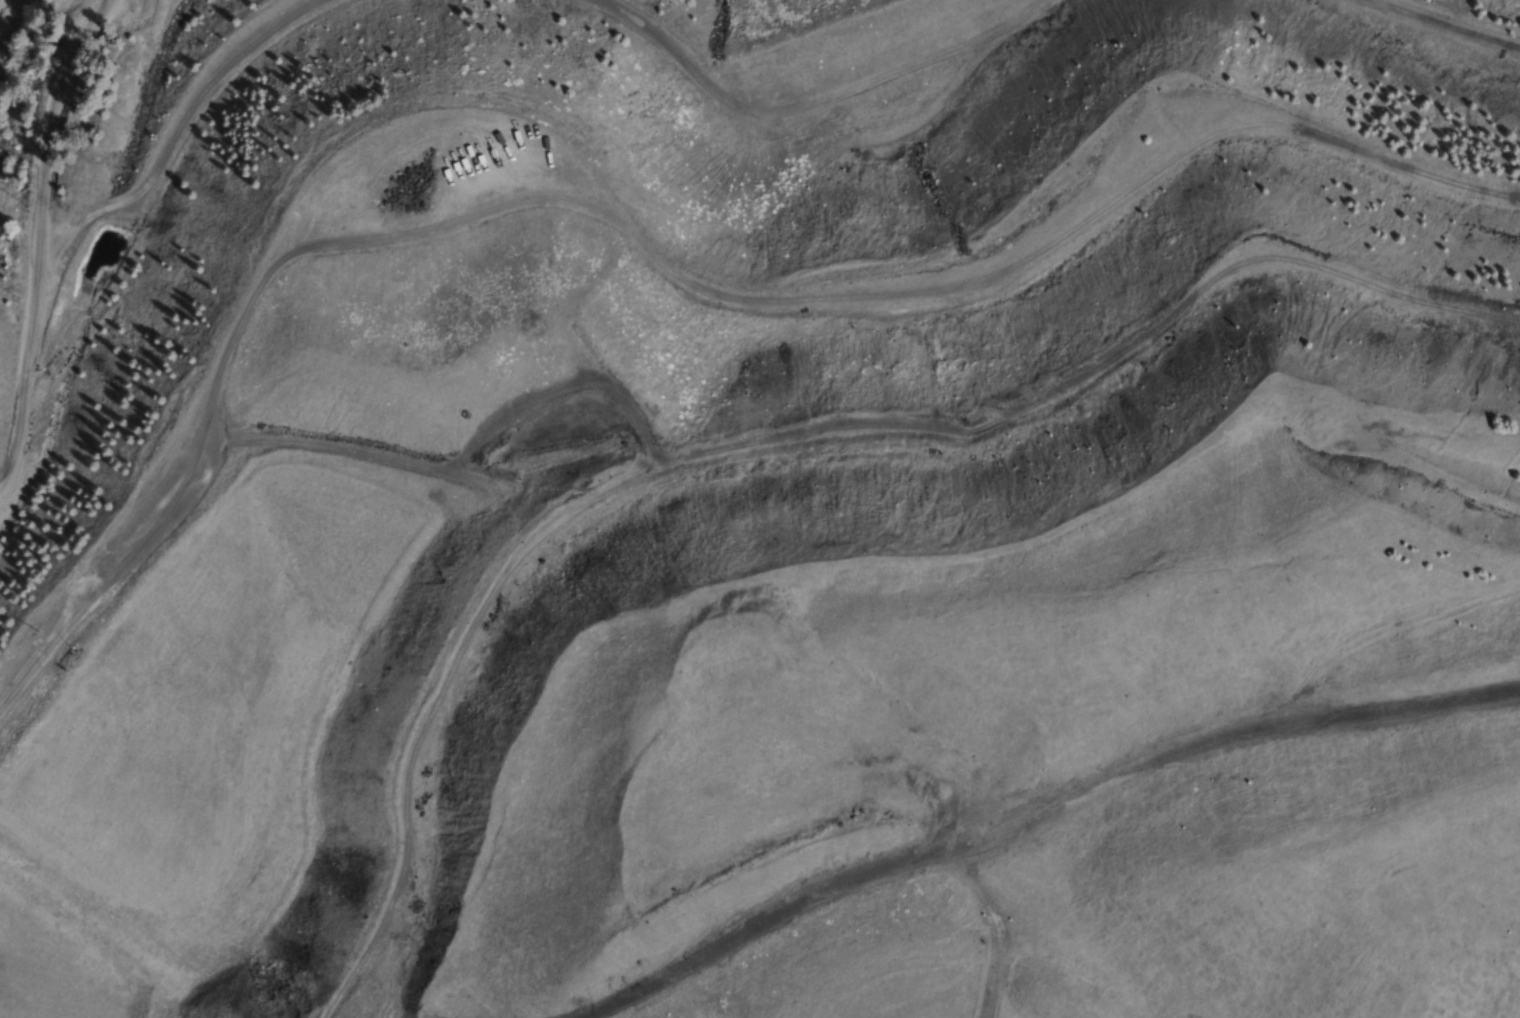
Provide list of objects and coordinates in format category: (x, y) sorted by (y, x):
quarry: (247, 735)

